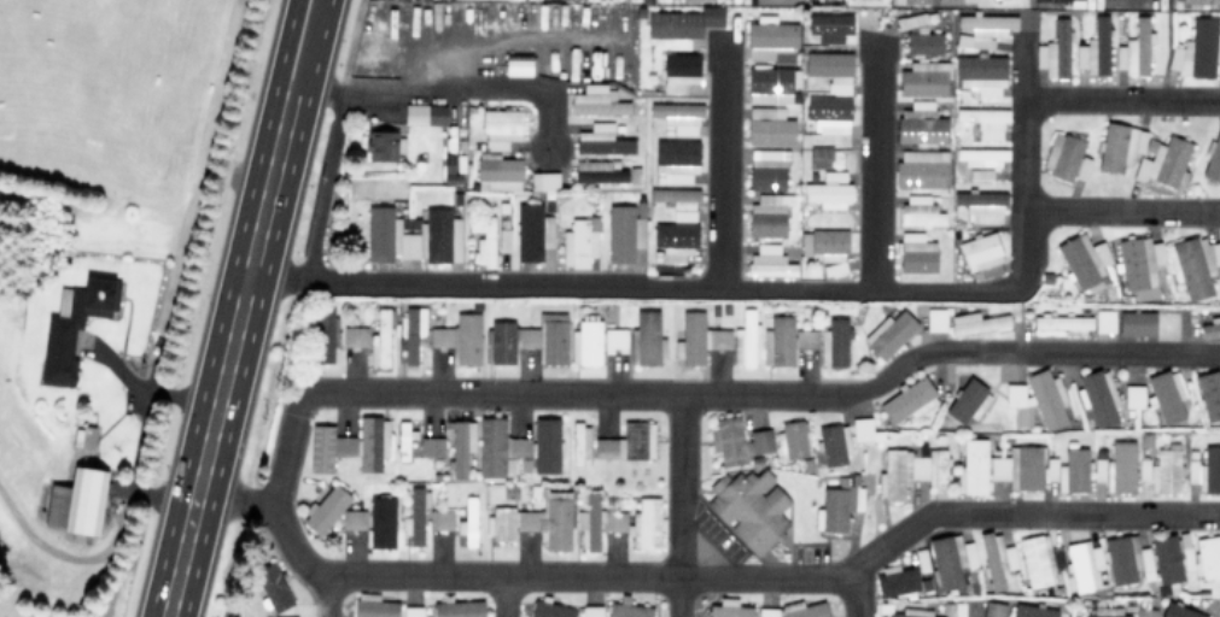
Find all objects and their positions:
building: (1193, 1)
building: (683, 22)
building: (982, 29)
building: (918, 35)
building: (771, 41)
building: (1095, 48)
building: (1134, 48)
road: (1167, 49)
building: (1197, 49)
building: (1055, 51)
building: (518, 65)
building: (830, 69)
building: (679, 71)
building: (981, 74)
building: (924, 78)
building: (771, 83)
road: (446, 88)
road: (1121, 99)
building: (597, 101)
building: (828, 112)
building: (424, 113)
building: (677, 116)
building: (983, 121)
building: (921, 123)
building: (769, 127)
building: (501, 128)
building: (602, 140)
building: (384, 145)
building: (1120, 145)
building: (821, 155)
building: (981, 155)
building: (1066, 157)
building: (676, 160)
building: (1163, 161)
road: (1022, 163)
road: (722, 165)
road: (874, 168)
building: (767, 169)
building: (921, 169)
building: (597, 171)
building: (497, 172)
building: (543, 180)
road: (325, 186)
building: (829, 189)
building: (678, 200)
building: (981, 205)
building: (920, 211)
road: (1121, 211)
building: (767, 215)
building: (532, 231)
building: (623, 233)
building: (413, 235)
building: (675, 240)
building: (579, 241)
building: (485, 242)
building: (823, 245)
building: (916, 252)
building: (981, 255)
building: (769, 260)
building: (1084, 262)
building: (1139, 265)
building: (1193, 265)
road: (484, 286)
road: (866, 290)
road: (238, 308)
road: (1018, 317)
building: (1103, 321)
building: (976, 323)
building: (1063, 323)
building: (1136, 323)
building: (71, 327)
building: (1210, 328)
building: (410, 331)
building: (889, 333)
building: (325, 335)
building: (354, 336)
building: (380, 337)
building: (648, 337)
building: (697, 337)
building: (460, 339)
building: (530, 339)
building: (614, 339)
building: (806, 339)
building: (745, 340)
building: (778, 341)
building: (834, 342)
building: (585, 343)
road: (708, 394)
building: (1209, 394)
building: (1133, 395)
building: (1166, 395)
road: (147, 396)
building: (1097, 396)
building: (1037, 399)
building: (909, 400)
building: (967, 401)
building: (402, 440)
building: (737, 440)
building: (790, 440)
building: (373, 442)
building: (627, 442)
building: (579, 443)
building: (461, 445)
building: (545, 445)
building: (834, 445)
building: (431, 446)
building: (327, 447)
building: (498, 447)
building: (997, 466)
building: (1120, 466)
building: (912, 470)
building: (1161, 470)
building: (1206, 470)
building: (1073, 471)
building: (76, 501)
road: (679, 505)
building: (749, 507)
building: (326, 509)
building: (415, 516)
building: (352, 518)
building: (439, 519)
building: (381, 521)
building: (536, 521)
building: (467, 522)
building: (620, 523)
building: (969, 554)
building: (1185, 556)
building: (996, 558)
building: (1126, 558)
building: (946, 559)
building: (1038, 559)
building: (1084, 566)
road: (696, 578)
building: (897, 580)
road: (854, 594)
road: (325, 597)
road: (502, 598)
building: (374, 606)
building: (459, 609)
building: (550, 609)
building: (627, 609)
building: (729, 609)
building: (804, 609)
building: (993, 609)
building: (411, 611)
building: (1032, 611)
building: (1178, 611)
building: (766, 612)
building: (911, 612)
building: (1103, 612)
building: (1145, 612)
building: (287, 616)

